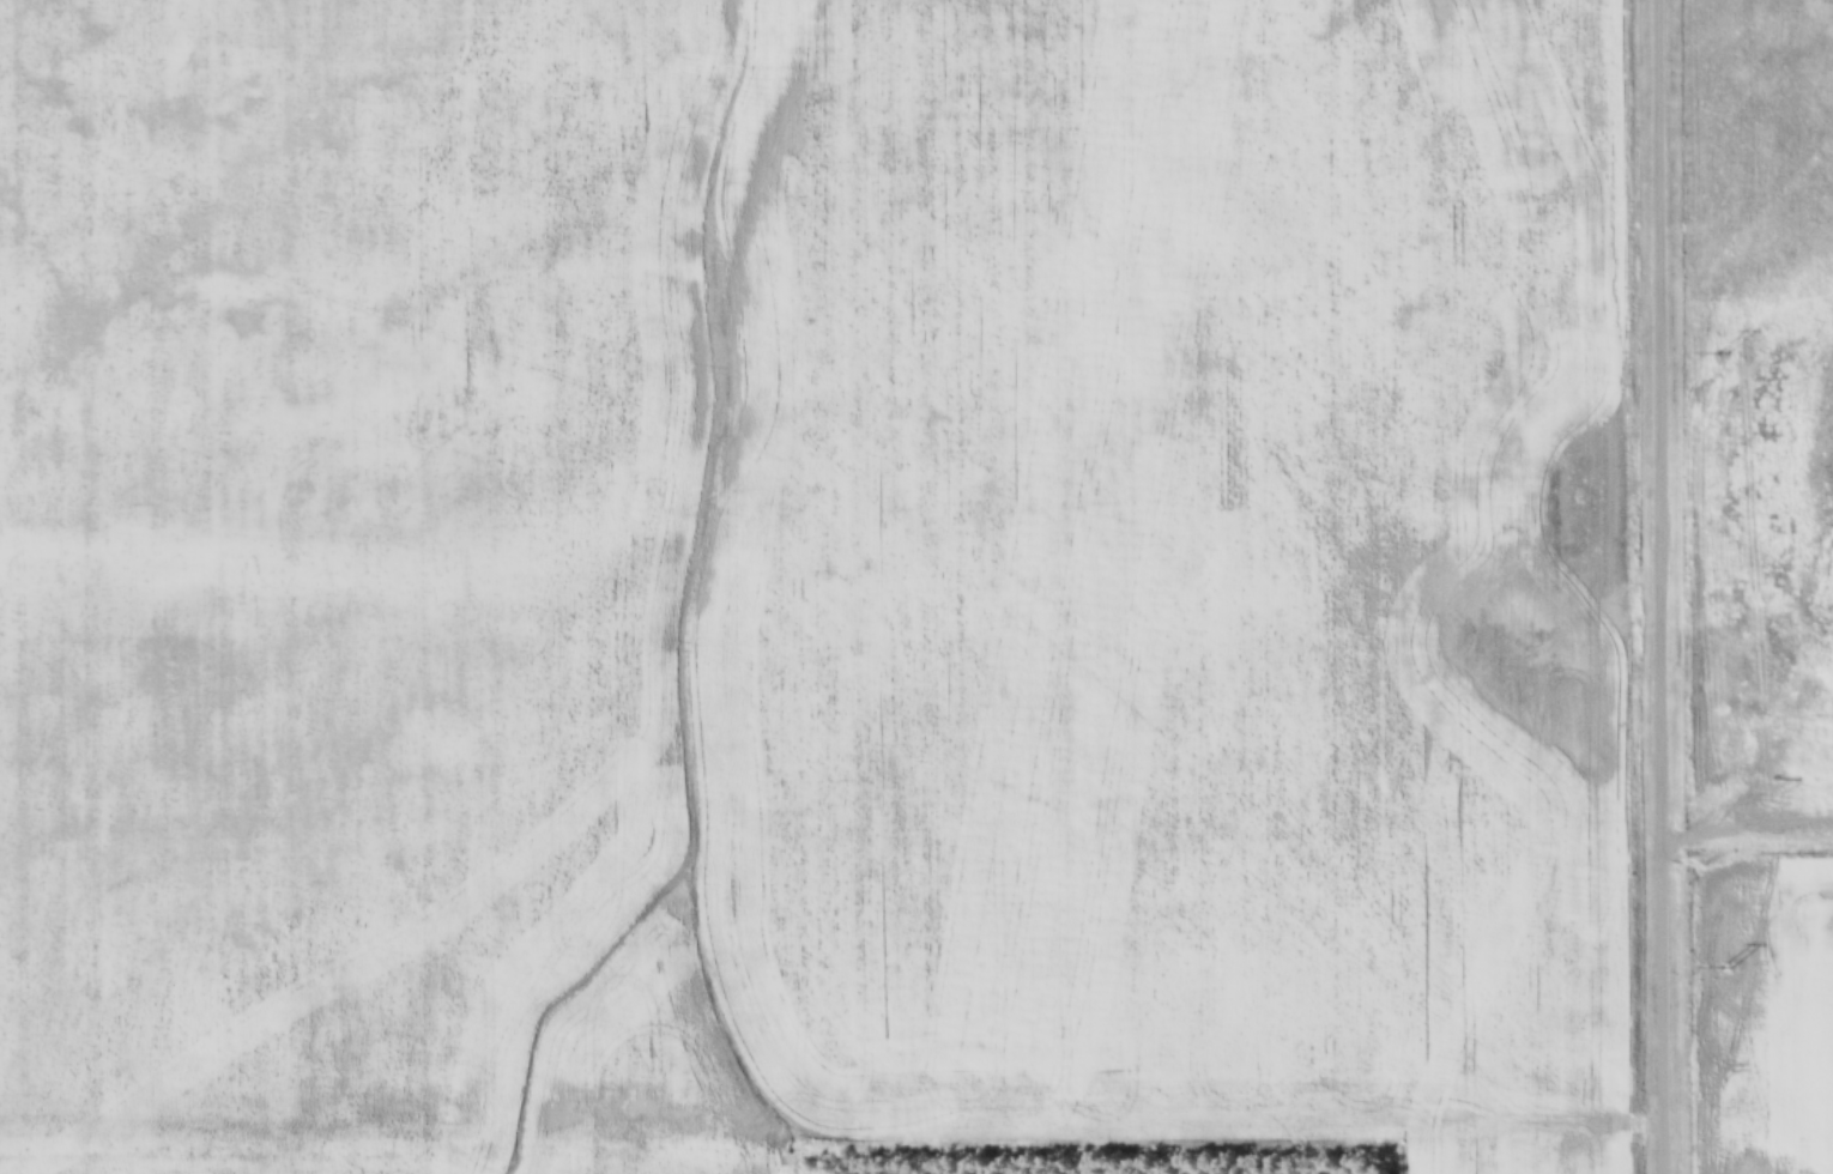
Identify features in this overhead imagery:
power tower: (1723, 356)
road: (1665, 587)
power tower: (1725, 968)

